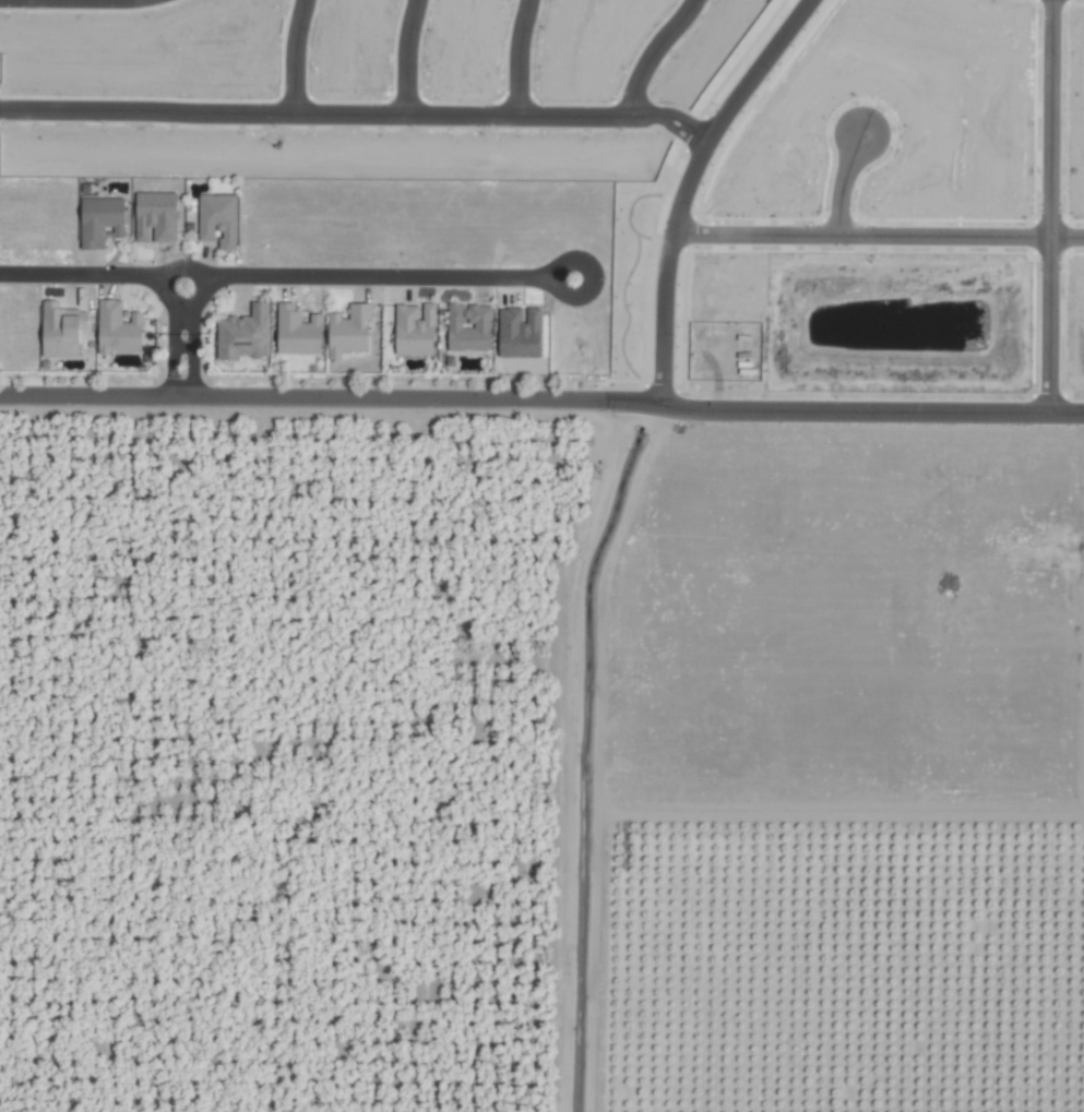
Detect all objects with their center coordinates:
road: (22, 0)
road: (291, 57)
road: (405, 57)
road: (651, 57)
road: (515, 58)
road: (353, 115)
road: (683, 186)
road: (1047, 207)
building: (218, 220)
building: (102, 222)
road: (875, 238)
road: (172, 271)
road: (81, 276)
road: (592, 276)
road: (373, 279)
building: (119, 327)
building: (469, 327)
building: (415, 330)
building: (60, 331)
building: (350, 331)
building: (298, 332)
building: (245, 334)
road: (170, 354)
road: (194, 354)
road: (541, 402)
crop: (540, 765)

